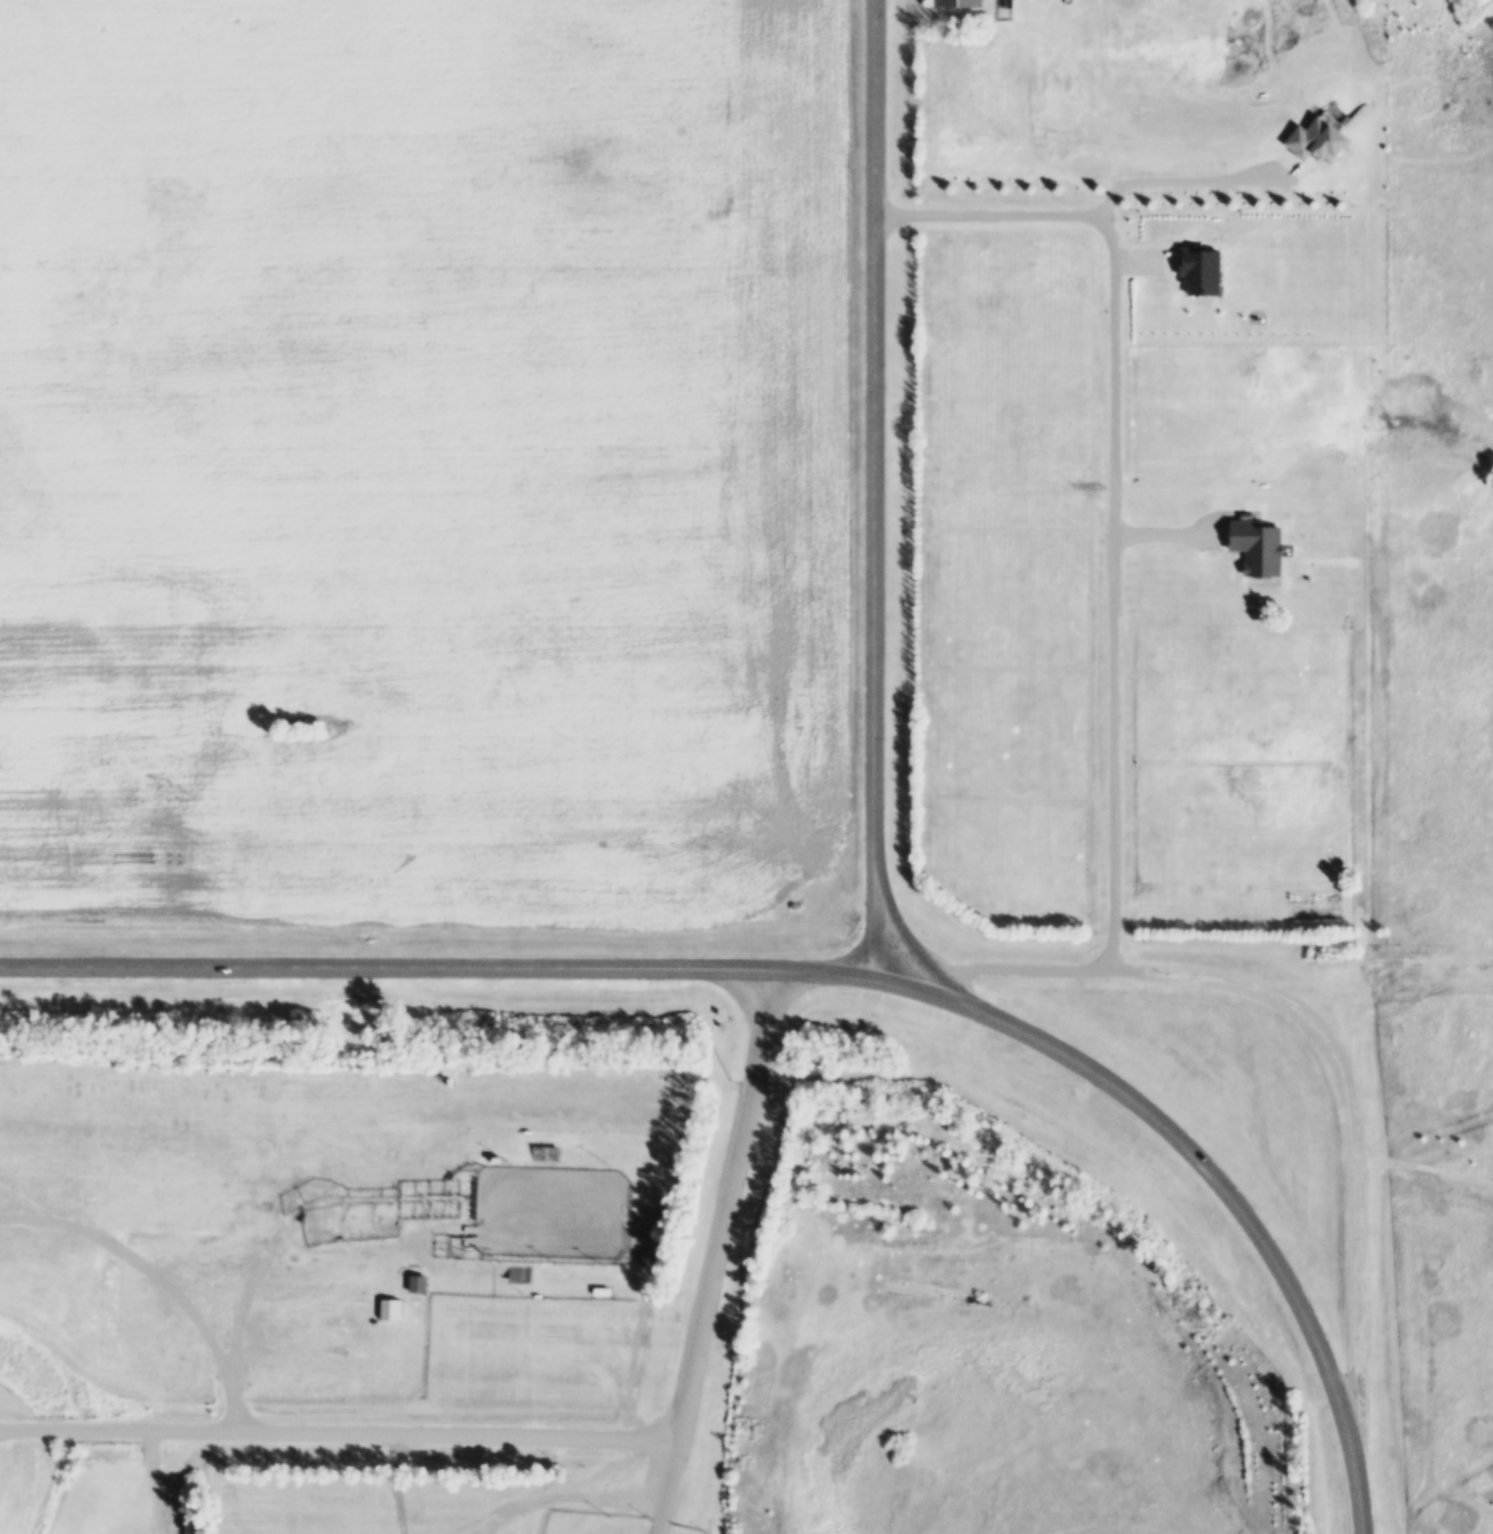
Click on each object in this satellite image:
building: (964, 2)
building: (1316, 163)
road: (1180, 183)
road: (990, 215)
road: (876, 489)
road: (1112, 593)
road: (472, 967)
road: (1393, 984)
road: (1338, 1044)
building: (545, 1154)
building: (498, 1160)
road: (1215, 1175)
road: (728, 1205)
building: (520, 1276)
building: (418, 1284)
building: (602, 1291)
road: (339, 1431)
road: (668, 1487)
road: (1363, 1501)

